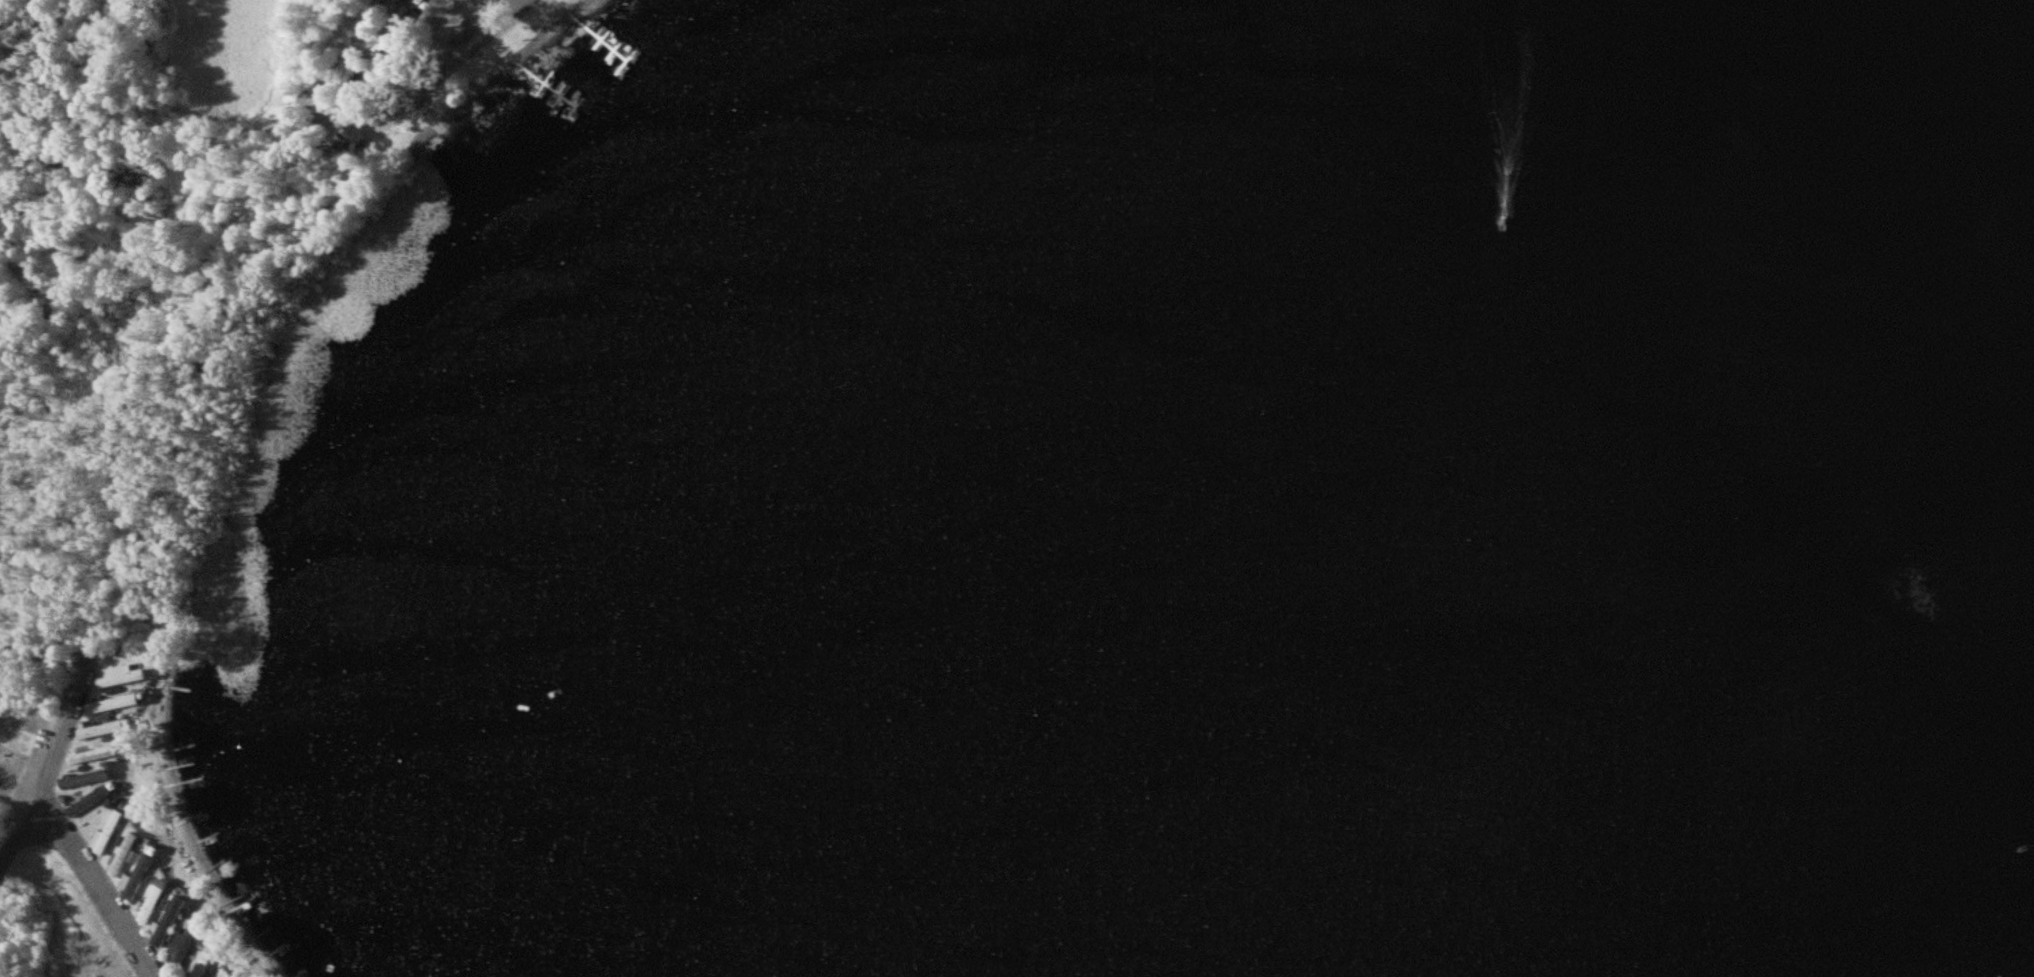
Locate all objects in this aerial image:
road: (377, 119)
building: (126, 675)
building: (115, 703)
building: (105, 717)
building: (104, 728)
road: (66, 741)
building: (98, 754)
building: (87, 777)
building: (91, 799)
building: (108, 834)
road: (75, 857)
building: (143, 868)
building: (155, 901)
building: (167, 923)
building: (185, 946)
building: (208, 960)
building: (223, 975)

